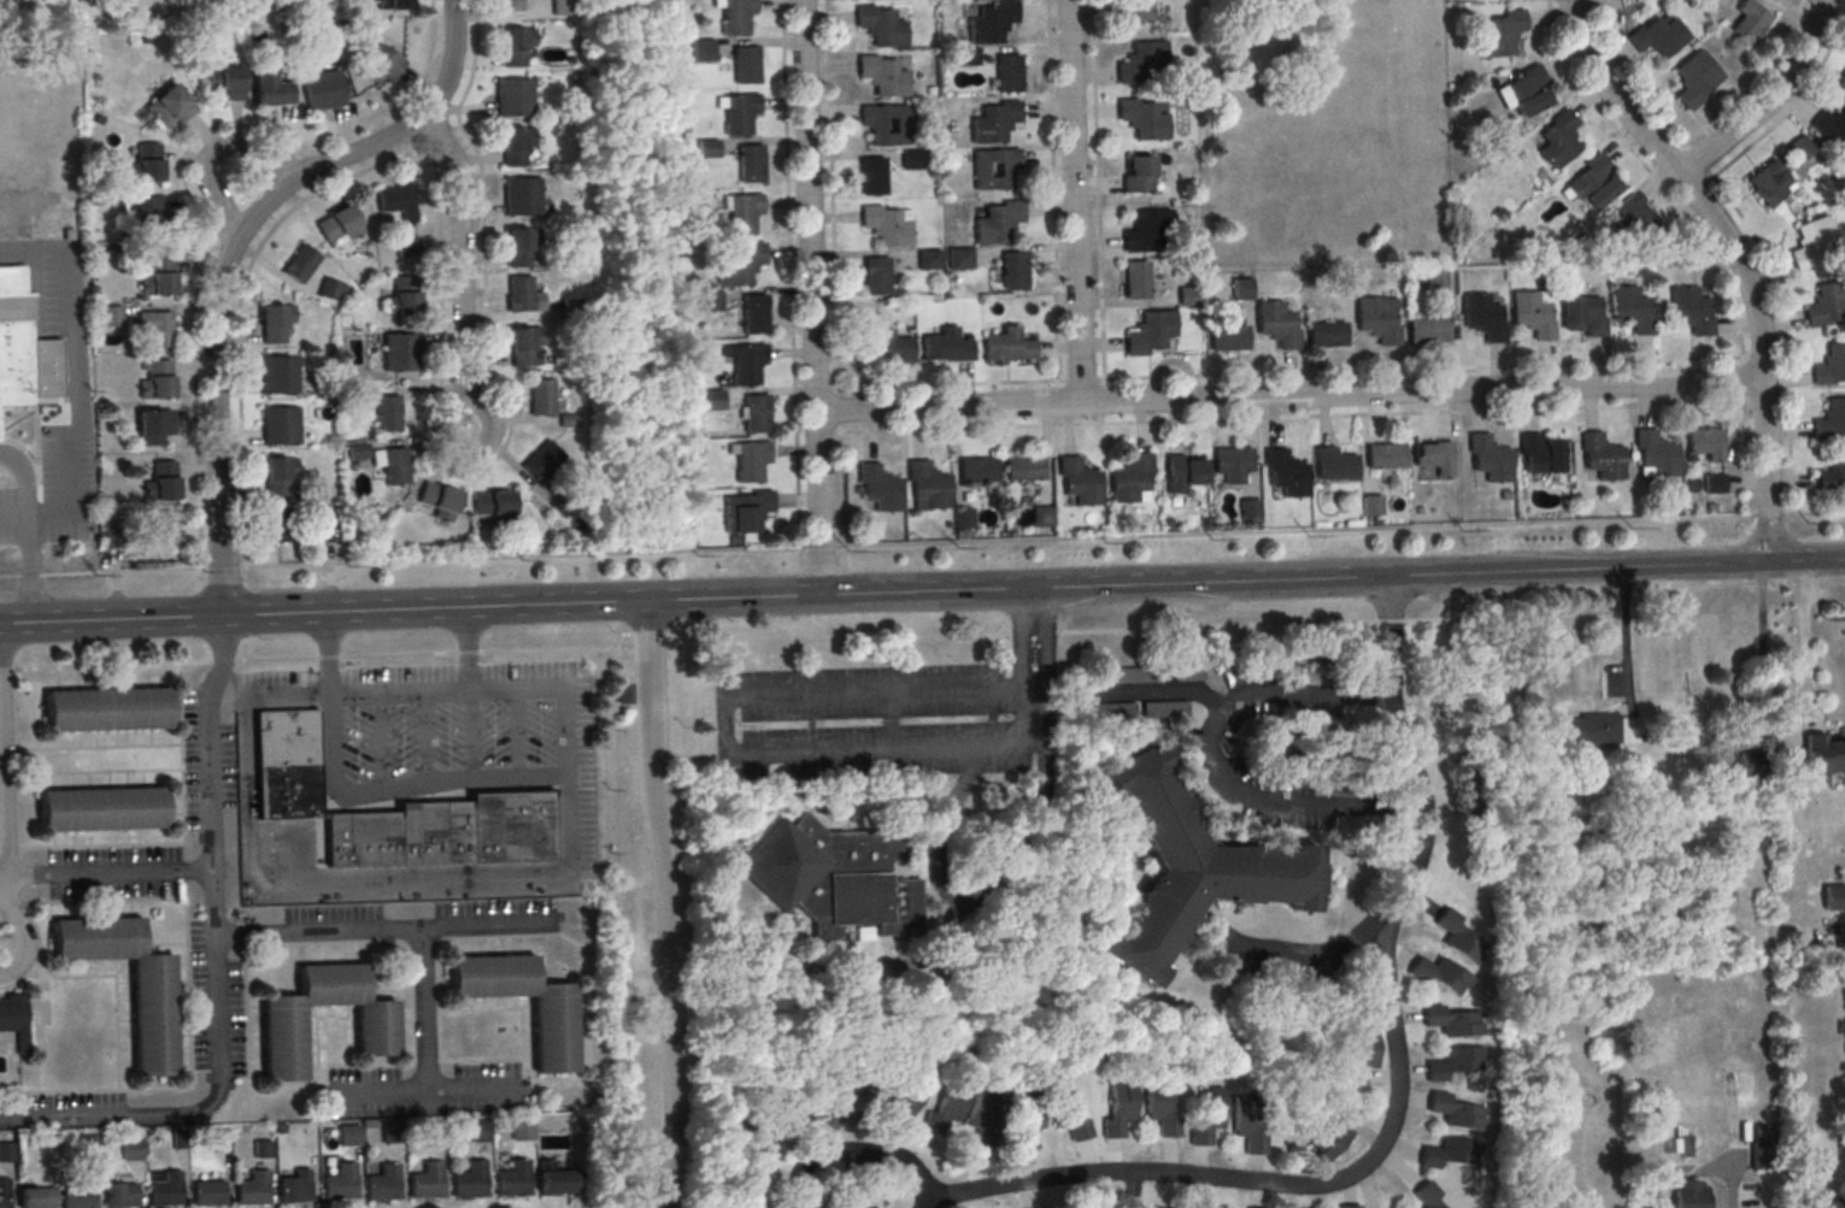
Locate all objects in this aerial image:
building: (394, 4)
building: (509, 5)
building: (562, 7)
building: (1133, 11)
road: (1844, 13)
building: (735, 16)
building: (1750, 18)
building: (991, 23)
building: (879, 26)
building: (1498, 35)
building: (1657, 35)
building: (515, 46)
building: (701, 51)
building: (966, 55)
road: (448, 61)
building: (382, 63)
building: (1140, 63)
building: (745, 66)
building: (1007, 73)
building: (881, 76)
road: (1626, 77)
building: (1694, 78)
building: (227, 81)
building: (1841, 82)
building: (271, 89)
building: (323, 89)
building: (1523, 90)
building: (513, 98)
road: (1768, 100)
building: (166, 106)
building: (739, 113)
building: (1140, 119)
building: (994, 123)
building: (885, 125)
building: (1831, 126)
park: (1323, 134)
building: (1557, 140)
building: (515, 146)
building: (1800, 147)
road: (215, 149)
building: (707, 149)
building: (910, 160)
building: (149, 161)
building: (750, 165)
building: (993, 169)
road: (1703, 170)
building: (1138, 175)
road: (1650, 175)
building: (871, 177)
building: (1592, 182)
building: (1767, 182)
road: (1095, 190)
road: (189, 196)
building: (521, 196)
building: (396, 200)
road: (1073, 201)
building: (145, 206)
road: (1052, 213)
building: (742, 214)
building: (1637, 214)
building: (998, 222)
building: (339, 224)
building: (885, 226)
building: (1146, 230)
building: (1809, 242)
building: (409, 244)
building: (519, 246)
road: (35, 254)
road: (1737, 258)
building: (959, 259)
building: (928, 260)
building: (301, 263)
building: (738, 265)
road: (460, 269)
building: (1013, 271)
road: (832, 273)
road: (788, 275)
building: (159, 276)
building: (875, 276)
road: (652, 278)
building: (1135, 278)
building: (1435, 281)
building: (1339, 284)
building: (330, 288)
building: (1240, 289)
building: (518, 294)
building: (401, 295)
road: (67, 296)
building: (1187, 296)
road: (810, 297)
building: (710, 300)
building: (1825, 304)
building: (568, 307)
road: (212, 308)
building: (1630, 310)
building: (1690, 311)
road: (441, 314)
building: (753, 314)
building: (111, 316)
building: (1530, 316)
building: (1582, 316)
building: (1481, 318)
building: (1375, 320)
building: (275, 322)
building: (1275, 324)
building: (154, 326)
building: (1426, 330)
building: (1148, 332)
building: (1324, 335)
road: (1784, 337)
building: (1227, 338)
building: (523, 343)
building: (23, 344)
building: (945, 347)
building: (1006, 347)
building: (887, 349)
building: (401, 352)
building: (746, 363)
road: (1500, 366)
building: (1829, 366)
building: (276, 375)
building: (155, 378)
road: (947, 385)
road: (77, 389)
building: (353, 393)
road: (1288, 395)
building: (541, 396)
building: (707, 400)
road: (74, 403)
building: (387, 414)
building: (754, 414)
road: (1291, 418)
building: (1829, 422)
road: (35, 425)
building: (153, 426)
building: (277, 426)
building: (0, 428)
building: (1705, 443)
building: (358, 449)
building: (1430, 454)
building: (1540, 454)
building: (1653, 454)
building: (1383, 456)
building: (1599, 456)
building: (1488, 459)
building: (541, 461)
building: (750, 461)
building: (1232, 464)
building: (1333, 465)
road: (31, 466)
building: (393, 466)
building: (1024, 469)
building: (977, 471)
building: (1183, 471)
building: (1285, 473)
building: (1832, 473)
building: (278, 475)
building: (1129, 478)
building: (161, 479)
building: (1079, 482)
building: (1714, 482)
building: (928, 485)
building: (879, 487)
road: (66, 488)
building: (439, 501)
building: (493, 506)
building: (1369, 506)
building: (745, 509)
building: (1247, 509)
road: (39, 513)
road: (1812, 515)
road: (1768, 517)
building: (1040, 518)
building: (962, 519)
road: (8, 520)
road: (33, 521)
building: (276, 524)
building: (165, 528)
building: (323, 528)
road: (27, 532)
road: (997, 542)
road: (1641, 567)
road: (223, 571)
road: (123, 574)
road: (29, 578)
road: (10, 579)
road: (1199, 583)
road: (246, 602)
road: (590, 602)
road: (201, 605)
road: (110, 619)
road: (1444, 619)
road: (1389, 620)
road: (1215, 625)
road: (1036, 631)
road: (647, 649)
road: (672, 649)
road: (1804, 649)
road: (1624, 656)
road: (431, 658)
road: (223, 665)
road: (106, 670)
building: (1127, 673)
road: (1763, 680)
road: (1033, 685)
road: (398, 690)
road: (269, 696)
building: (107, 709)
building: (1109, 709)
road: (1034, 715)
road: (723, 724)
parking lot: (460, 727)
building: (1587, 731)
road: (470, 733)
road: (1216, 754)
building: (1822, 755)
road: (1, 759)
parking lot: (205, 761)
building: (1721, 764)
building: (286, 765)
road: (2, 773)
building: (1755, 773)
road: (492, 778)
building: (102, 808)
building: (510, 827)
building: (433, 833)
road: (1024, 836)
building: (360, 839)
building: (1187, 871)
road: (105, 872)
parking lot: (113, 873)
building: (830, 878)
road: (368, 883)
building: (1833, 898)
road: (665, 903)
parking lot: (419, 923)
road: (18, 927)
road: (384, 930)
building: (1459, 936)
road: (947, 939)
road: (1317, 949)
road: (213, 967)
building: (1442, 974)
parking lot: (215, 1003)
road: (424, 1014)
building: (152, 1019)
building: (13, 1020)
building: (1453, 1020)
building: (280, 1032)
building: (552, 1036)
building: (1362, 1056)
building: (1456, 1062)
parking lot: (423, 1092)
road: (428, 1098)
building: (897, 1104)
building: (845, 1106)
building: (775, 1108)
building: (945, 1108)
building: (1159, 1109)
building: (1117, 1110)
building: (1457, 1110)
parking lot: (66, 1113)
building: (1064, 1115)
building: (1205, 1118)
building: (980, 1120)
building: (1023, 1122)
road: (1391, 1125)
building: (1246, 1127)
building: (1333, 1131)
building: (521, 1132)
building: (476, 1133)
building: (390, 1135)
building: (434, 1135)
building: (347, 1137)
building: (219, 1142)
building: (1682, 1144)
building: (89, 1145)
building: (131, 1151)
building: (7, 1153)
building: (1451, 1153)
building: (1759, 1154)
road: (1693, 1171)
building: (554, 1179)
building: (511, 1180)
building: (468, 1182)
building: (424, 1183)
building: (339, 1184)
building: (382, 1185)
building: (294, 1188)
building: (252, 1190)
building: (165, 1191)
building: (207, 1191)
building: (4, 1194)
building: (121, 1194)
building: (1688, 1195)
building: (78, 1196)
building: (1427, 1196)
building: (37, 1197)
building: (1837, 1204)
building: (1159, 1207)
building: (1200, 1207)
building: (1250, 1207)
building: (1294, 1207)
building: (1350, 1207)

